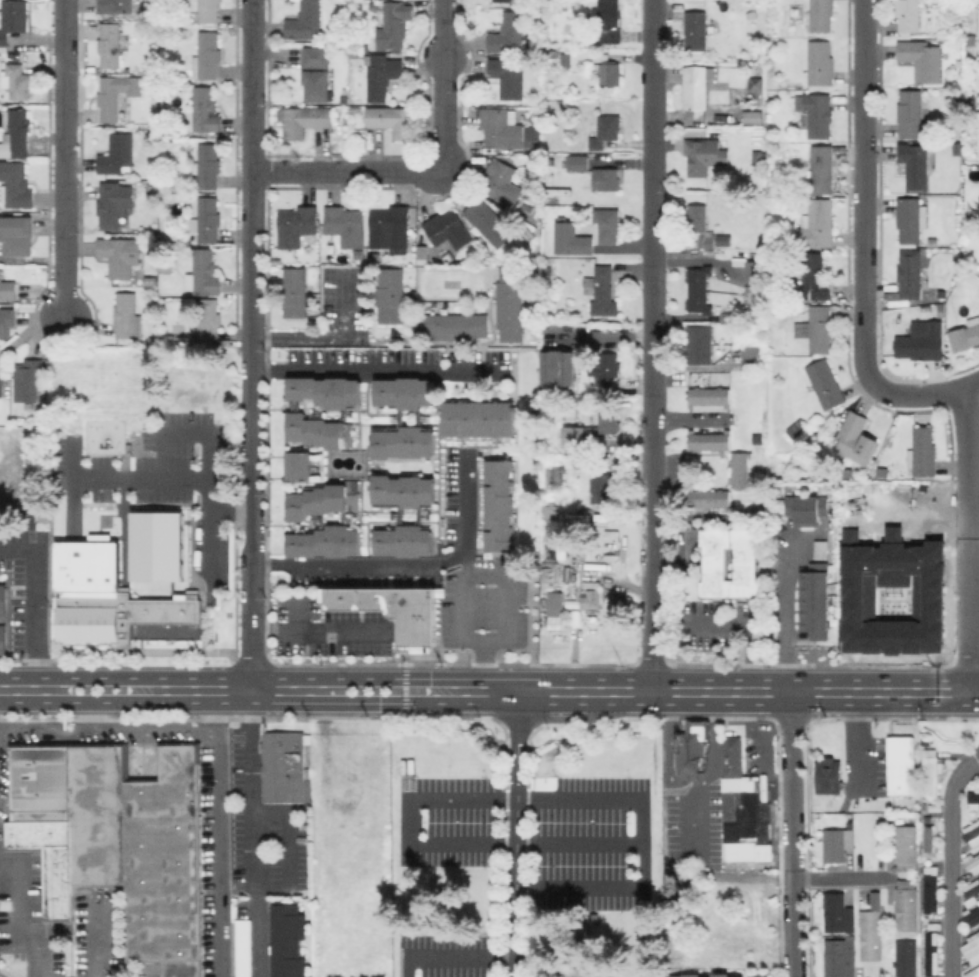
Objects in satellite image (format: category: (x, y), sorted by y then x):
building: (503, 0)
building: (115, 6)
building: (206, 9)
building: (821, 15)
building: (908, 15)
building: (12, 19)
building: (306, 20)
building: (609, 22)
building: (393, 26)
building: (696, 30)
building: (164, 32)
building: (508, 32)
building: (342, 35)
building: (971, 39)
building: (110, 45)
building: (207, 56)
building: (316, 56)
building: (600, 56)
building: (566, 58)
building: (922, 59)
building: (821, 63)
building: (610, 73)
building: (380, 76)
building: (508, 77)
building: (18, 79)
building: (756, 84)
building: (316, 85)
building: (697, 85)
road: (443, 86)
building: (773, 94)
building: (117, 95)
building: (204, 110)
building: (815, 113)
building: (911, 114)
building: (753, 116)
building: (390, 119)
building: (305, 120)
building: (18, 130)
building: (508, 130)
building: (606, 131)
building: (771, 147)
building: (119, 154)
building: (704, 155)
building: (757, 157)
road: (64, 158)
building: (551, 161)
building: (577, 162)
building: (208, 166)
building: (916, 166)
building: (822, 169)
road: (348, 171)
building: (606, 178)
building: (502, 181)
building: (16, 184)
building: (155, 187)
building: (114, 204)
building: (207, 219)
building: (911, 219)
building: (488, 222)
building: (818, 223)
building: (608, 224)
building: (700, 224)
building: (297, 225)
building: (346, 225)
building: (450, 229)
building: (393, 230)
building: (17, 235)
building: (573, 239)
building: (721, 240)
road: (863, 241)
building: (933, 242)
building: (421, 252)
building: (360, 253)
building: (121, 257)
building: (167, 265)
building: (750, 272)
building: (204, 273)
building: (911, 273)
building: (815, 277)
building: (153, 279)
building: (7, 288)
building: (696, 289)
building: (602, 290)
building: (292, 292)
building: (389, 295)
building: (508, 304)
building: (940, 309)
building: (127, 316)
building: (208, 319)
building: (7, 324)
building: (450, 326)
building: (821, 328)
road: (602, 334)
building: (966, 335)
road: (329, 341)
building: (179, 342)
building: (923, 343)
building: (697, 344)
road: (651, 345)
road: (252, 351)
building: (748, 356)
building: (606, 368)
road: (376, 370)
building: (561, 370)
building: (29, 381)
building: (826, 383)
road: (973, 387)
building: (0, 388)
building: (327, 390)
building: (404, 393)
building: (706, 395)
building: (477, 418)
building: (608, 420)
building: (320, 430)
building: (799, 430)
road: (970, 434)
building: (582, 438)
building: (856, 439)
building: (706, 440)
building: (404, 442)
building: (922, 451)
road: (209, 462)
building: (300, 466)
building: (737, 469)
building: (881, 471)
building: (555, 473)
road: (142, 479)
road: (74, 487)
building: (600, 487)
building: (404, 491)
building: (325, 498)
building: (706, 498)
road: (975, 501)
building: (497, 505)
road: (126, 506)
building: (804, 509)
road: (230, 512)
road: (914, 514)
building: (405, 540)
building: (327, 541)
building: (155, 545)
building: (554, 546)
building: (818, 549)
building: (728, 562)
road: (466, 564)
road: (412, 566)
building: (551, 573)
road: (971, 585)
building: (3, 599)
building: (592, 600)
building: (621, 600)
building: (556, 603)
building: (811, 603)
road: (37, 606)
building: (393, 610)
road: (300, 614)
road: (782, 614)
building: (132, 617)
building: (552, 624)
road: (323, 632)
building: (3, 638)
road: (503, 642)
road: (394, 646)
road: (483, 666)
road: (406, 671)
road: (228, 677)
road: (717, 691)
road: (406, 697)
road: (228, 702)
road: (214, 704)
road: (99, 714)
road: (203, 720)
road: (104, 727)
road: (768, 737)
road: (858, 742)
building: (693, 748)
building: (898, 765)
building: (285, 768)
building: (928, 771)
building: (826, 775)
building: (41, 777)
road: (691, 791)
road: (497, 799)
building: (972, 800)
building: (744, 811)
road: (694, 828)
building: (79, 830)
parking lot: (535, 832)
building: (970, 832)
road: (517, 834)
road: (787, 834)
road: (252, 840)
building: (838, 845)
road: (289, 848)
building: (908, 849)
road: (216, 854)
road: (951, 862)
building: (165, 866)
road: (838, 877)
building: (928, 888)
building: (969, 891)
building: (908, 905)
road: (26, 908)
building: (839, 913)
building: (971, 916)
building: (595, 920)
building: (872, 930)
building: (289, 941)
building: (243, 947)
building: (971, 947)
building: (928, 952)
parking lot: (449, 955)
road: (452, 957)
building: (837, 958)
building: (904, 958)
building: (972, 972)
road: (2, 975)
building: (692, 976)
building: (722, 976)
building: (738, 976)

